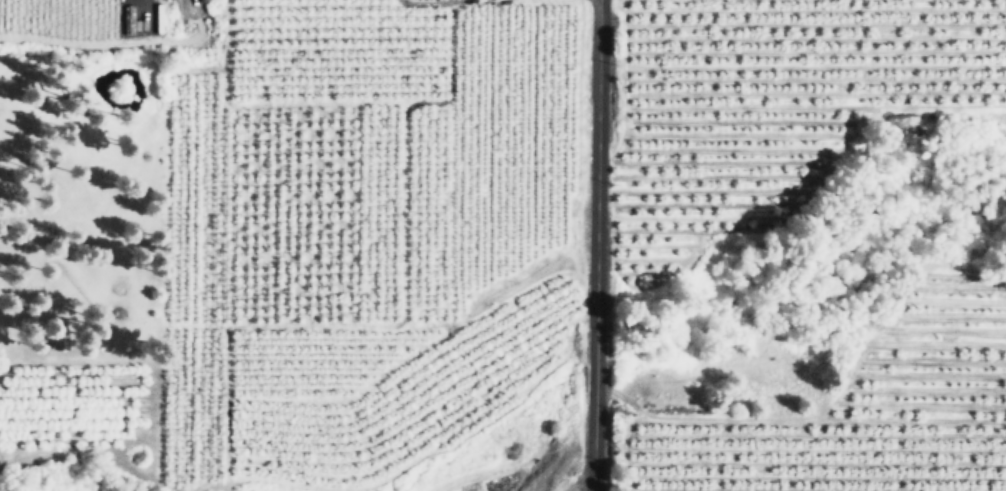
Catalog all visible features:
road: (590, 245)

